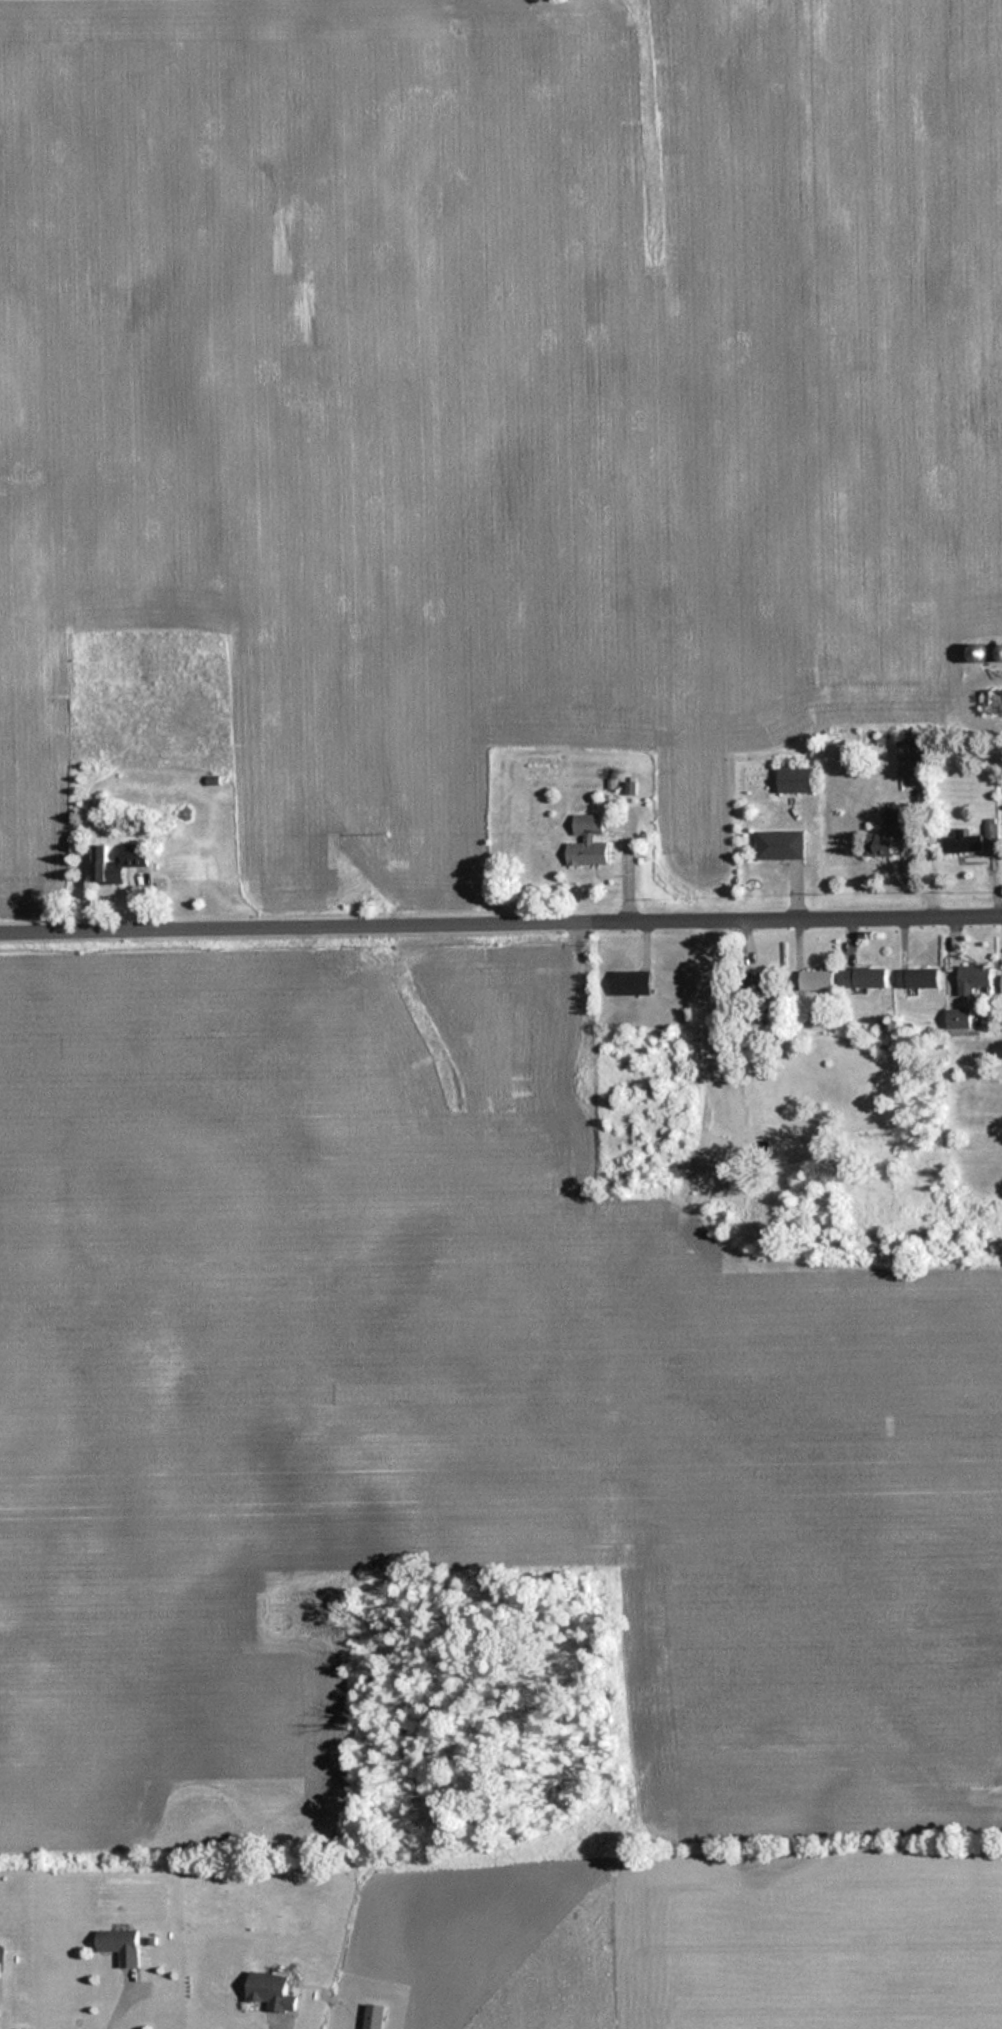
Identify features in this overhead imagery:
building: (977, 651)
building: (1000, 651)
building: (994, 701)
building: (913, 757)
building: (794, 779)
building: (889, 833)
building: (588, 840)
building: (962, 841)
building: (779, 844)
building: (137, 850)
building: (106, 866)
building: (156, 885)
road: (501, 927)
building: (863, 977)
building: (917, 977)
building: (761, 978)
building: (972, 978)
building: (816, 979)
building: (633, 982)
building: (958, 1017)
building: (121, 1944)
building: (271, 1991)
road: (114, 2004)

